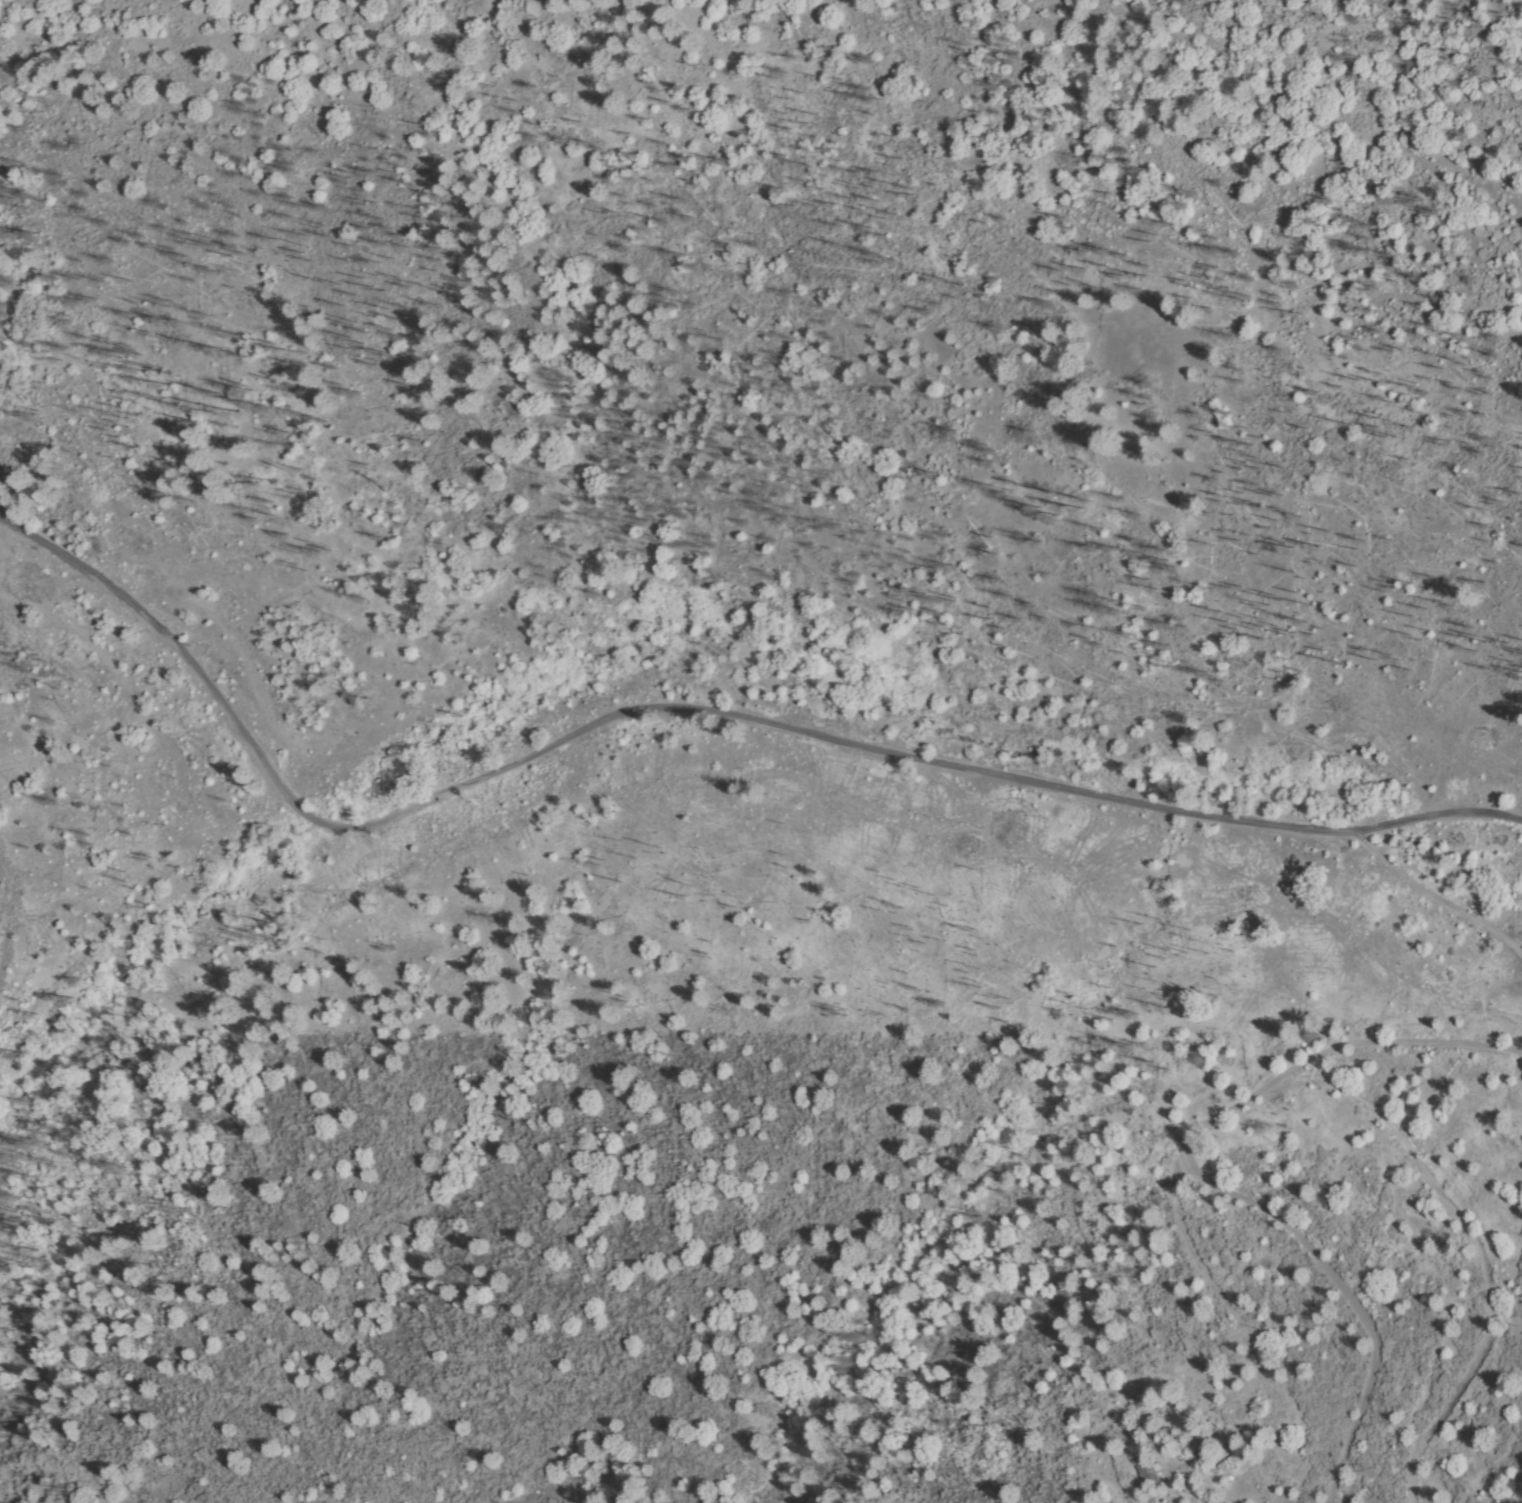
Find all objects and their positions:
road: (688, 710)
building: (1203, 1442)
building: (1231, 1460)
building: (1147, 1473)

